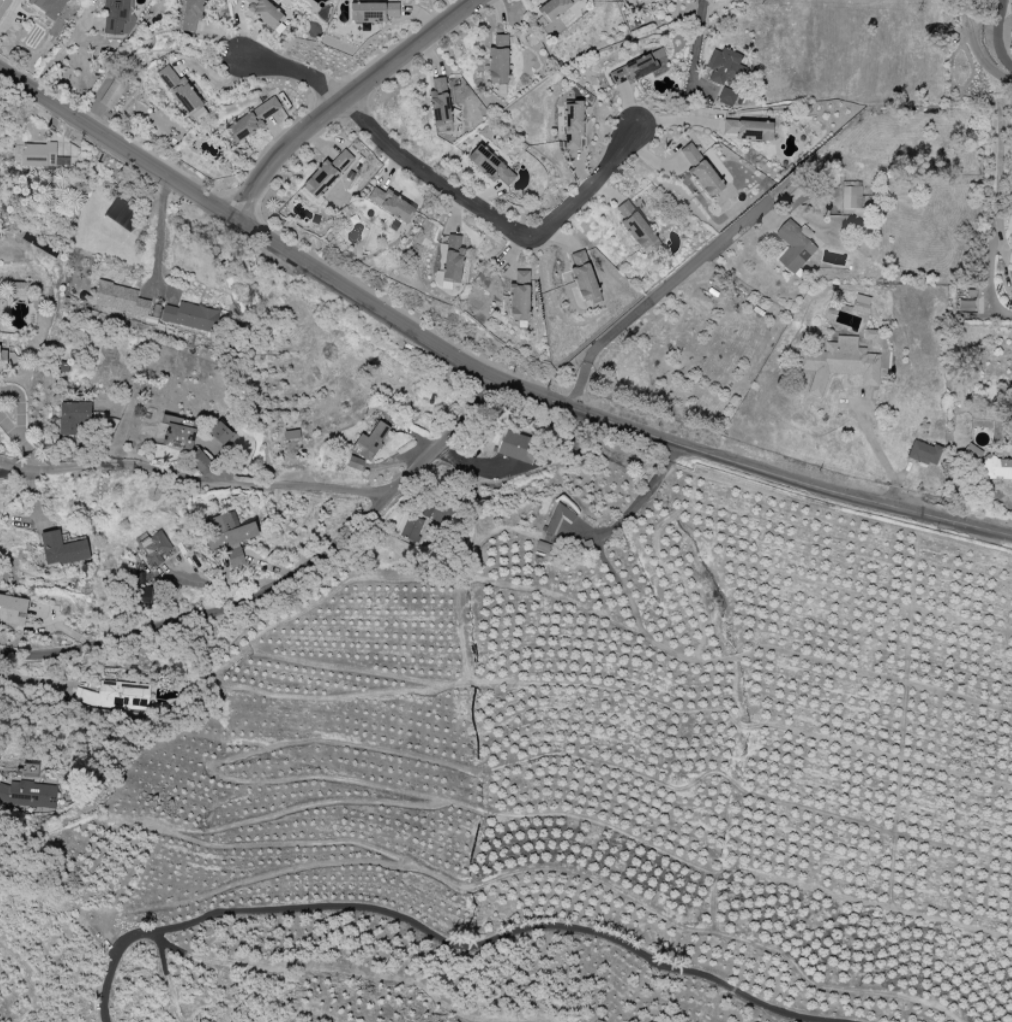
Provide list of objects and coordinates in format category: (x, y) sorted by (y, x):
building: (51, 7)
building: (554, 9)
building: (373, 10)
building: (265, 13)
building: (192, 15)
building: (115, 16)
road: (998, 36)
road: (695, 49)
road: (975, 49)
road: (57, 53)
building: (499, 61)
building: (724, 66)
building: (634, 70)
building: (181, 91)
building: (113, 93)
building: (725, 97)
road: (345, 102)
building: (440, 103)
building: (251, 121)
building: (573, 124)
building: (749, 130)
building: (43, 155)
building: (490, 166)
building: (701, 173)
building: (326, 175)
road: (997, 180)
road: (446, 188)
building: (851, 197)
building: (392, 205)
building: (120, 214)
building: (636, 226)
road: (156, 234)
building: (794, 247)
building: (1011, 252)
building: (453, 260)
building: (584, 277)
building: (19, 289)
building: (120, 298)
road: (651, 298)
building: (519, 302)
building: (965, 302)
building: (860, 308)
building: (190, 317)
building: (872, 337)
building: (3, 363)
building: (840, 364)
road: (478, 365)
road: (18, 407)
building: (76, 421)
road: (8, 428)
building: (220, 433)
building: (180, 434)
building: (371, 442)
building: (519, 448)
road: (876, 450)
road: (28, 452)
building: (925, 454)
building: (200, 462)
building: (354, 463)
building: (990, 464)
road: (4, 468)
road: (197, 476)
building: (559, 519)
building: (408, 527)
building: (228, 538)
building: (63, 549)
building: (157, 549)
road: (287, 580)
building: (141, 589)
building: (13, 610)
building: (124, 695)
building: (36, 786)
road: (447, 941)

